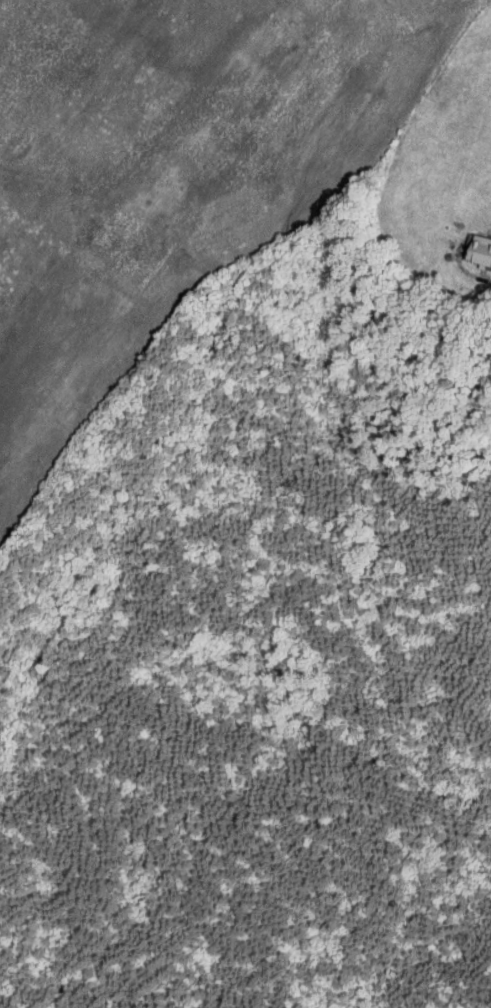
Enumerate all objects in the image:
building: (483, 248)

